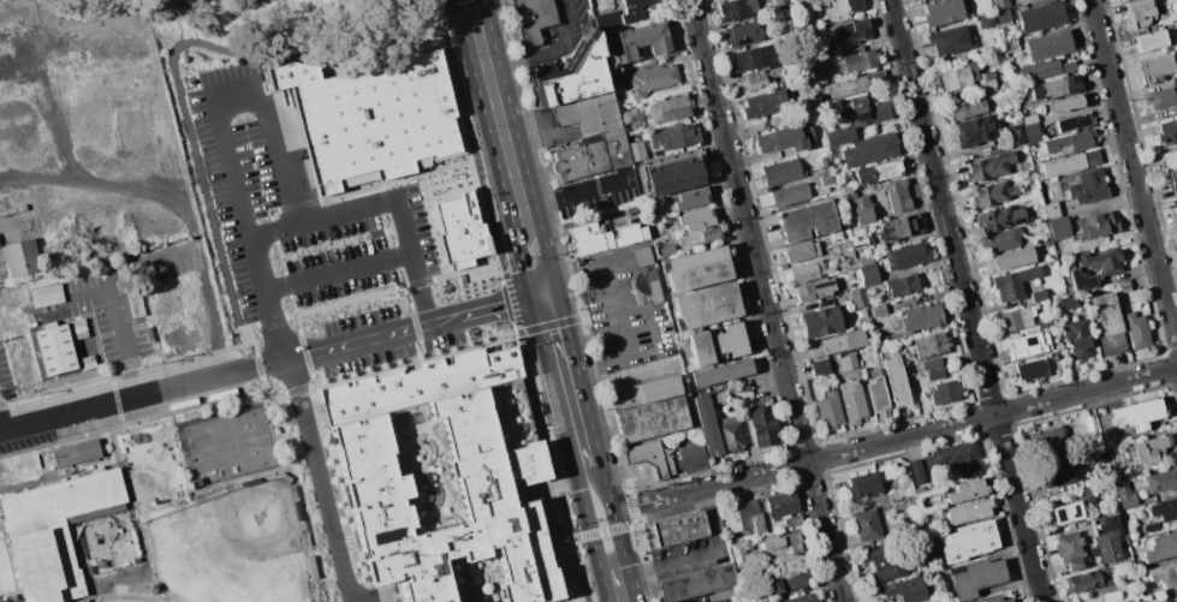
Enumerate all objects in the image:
building: (793, 0)
building: (920, 0)
building: (923, 0)
building: (781, 1)
building: (1000, 4)
building: (1173, 6)
road: (470, 8)
building: (837, 8)
building: (634, 10)
rooftop solar panel: (731, 10)
building: (738, 12)
building: (943, 12)
building: (1140, 12)
building: (1042, 17)
building: (1003, 18)
building: (534, 19)
building: (799, 19)
building: (607, 22)
building: (986, 22)
road: (458, 25)
building: (852, 32)
building: (744, 34)
parking lot: (565, 36)
building: (644, 36)
rooftop solar panel: (744, 41)
building: (949, 41)
building: (1151, 41)
building: (810, 44)
building: (1010, 46)
building: (1048, 46)
road: (552, 55)
building: (757, 56)
building: (861, 61)
building: (1066, 64)
building: (818, 65)
building: (1158, 68)
building: (778, 70)
building: (974, 70)
building: (1040, 71)
building: (571, 77)
building: (956, 78)
building: (652, 79)
building: (876, 79)
building: (759, 81)
building: (987, 82)
building: (848, 87)
building: (1057, 88)
building: (1161, 99)
building: (806, 100)
building: (1068, 103)
building: (763, 105)
building: (969, 108)
building: (670, 109)
building: (868, 112)
building: (838, 113)
building: (588, 114)
building: (371, 115)
building: (1029, 119)
rooftop solar panel: (862, 120)
building: (1075, 123)
building: (1032, 127)
building: (975, 130)
building: (1167, 132)
road: (279, 133)
building: (840, 135)
building: (1016, 135)
building: (676, 137)
building: (1034, 137)
building: (780, 139)
building: (816, 142)
building: (1070, 144)
building: (1032, 147)
building: (998, 148)
building: (870, 150)
road: (506, 155)
building: (593, 156)
building: (1171, 159)
building: (825, 161)
building: (1071, 163)
building: (991, 166)
road: (448, 172)
building: (784, 172)
building: (875, 173)
road: (1134, 173)
building: (674, 175)
building: (1173, 178)
building: (828, 180)
building: (1086, 187)
road: (477, 191)
road: (485, 191)
road: (573, 192)
building: (993, 193)
building: (849, 195)
building: (791, 196)
building: (898, 196)
building: (691, 199)
road: (386, 201)
building: (860, 203)
parking lot: (297, 205)
building: (1176, 207)
building: (12, 210)
road: (269, 210)
building: (1053, 210)
building: (863, 215)
building: (1000, 219)
building: (696, 220)
building: (806, 221)
building: (913, 223)
building: (1096, 226)
building: (463, 230)
building: (585, 230)
building: (892, 230)
building: (1059, 230)
road: (248, 232)
building: (701, 234)
building: (860, 238)
road: (438, 239)
building: (1000, 239)
building: (608, 240)
building: (846, 250)
building: (667, 251)
building: (802, 251)
road: (398, 255)
building: (909, 256)
building: (643, 257)
building: (22, 258)
building: (864, 260)
building: (1010, 260)
building: (1101, 262)
building: (850, 263)
building: (696, 269)
building: (808, 272)
road: (338, 273)
road: (566, 275)
building: (868, 275)
building: (846, 279)
building: (1081, 280)
building: (1013, 284)
building: (648, 285)
rooftop solar panel: (824, 286)
building: (902, 286)
building: (1122, 287)
road: (601, 290)
building: (815, 292)
traffic signals: (542, 293)
rooftop solar panel: (1007, 293)
building: (46, 296)
building: (1036, 296)
building: (858, 297)
road: (355, 299)
road: (766, 300)
road: (964, 300)
building: (1069, 303)
building: (1134, 303)
building: (707, 306)
building: (878, 310)
parking lot: (622, 314)
building: (1106, 314)
road: (646, 315)
building: (922, 317)
building: (1016, 318)
road: (119, 322)
building: (821, 322)
building: (1044, 322)
road: (412, 328)
building: (1075, 330)
building: (1136, 330)
road: (612, 334)
building: (884, 334)
road: (555, 342)
building: (838, 344)
building: (1113, 344)
building: (715, 345)
building: (932, 346)
building: (1029, 346)
building: (1081, 347)
building: (59, 350)
building: (1057, 357)
building: (849, 363)
building: (932, 365)
road: (257, 368)
building: (820, 368)
building: (1030, 370)
building: (874, 372)
building: (721, 374)
building: (935, 375)
road: (622, 379)
building: (418, 382)
building: (897, 382)
road: (200, 383)
building: (946, 392)
building: (646, 393)
building: (876, 394)
road: (151, 395)
building: (747, 395)
building: (852, 403)
road: (534, 406)
building: (729, 409)
building: (830, 411)
road: (76, 413)
building: (1140, 413)
building: (652, 419)
building: (707, 425)
building: (763, 428)
road: (577, 429)
road: (7, 430)
building: (730, 435)
building: (1108, 436)
road: (894, 439)
building: (1047, 439)
building: (1089, 443)
park: (227, 447)
building: (1149, 449)
building: (77, 453)
building: (689, 453)
building: (956, 455)
building: (650, 458)
building: (1101, 458)
building: (927, 461)
building: (19, 466)
road: (555, 472)
road: (584, 472)
building: (917, 472)
building: (1056, 473)
road: (316, 481)
building: (1161, 481)
road: (563, 482)
building: (864, 485)
road: (600, 487)
road: (525, 488)
traffic signals: (579, 489)
building: (920, 490)
building: (968, 491)
building: (376, 493)
building: (1125, 495)
building: (1086, 497)
building: (783, 509)
building: (1165, 509)
rooftop solar panel: (1075, 511)
building: (969, 512)
rooftop solar panel: (1058, 513)
park: (161, 514)
building: (1060, 514)
building: (744, 517)
road: (587, 523)
building: (868, 525)
traffic signals: (570, 526)
building: (680, 528)
building: (903, 529)
rooftop solar panel: (384, 531)
building: (54, 532)
road: (594, 532)
road: (618, 536)
road: (573, 538)
building: (1110, 540)
building: (967, 542)
building: (781, 546)
building: (1161, 548)
park: (231, 549)
road: (558, 550)
building: (1070, 550)
traffic signals: (577, 552)
road: (696, 554)
building: (739, 554)
building: (921, 554)
building: (885, 564)
road: (613, 568)
traffic signals: (613, 568)
building: (1164, 576)
building: (976, 578)
building: (786, 580)
building: (697, 583)
building: (1084, 583)
road: (618, 589)
building: (906, 591)
road: (590, 594)
building: (1114, 596)
building: (1175, 596)
park: (126, 598)
road: (576, 598)
building: (802, 598)
building: (998, 600)
building: (5, 601)

